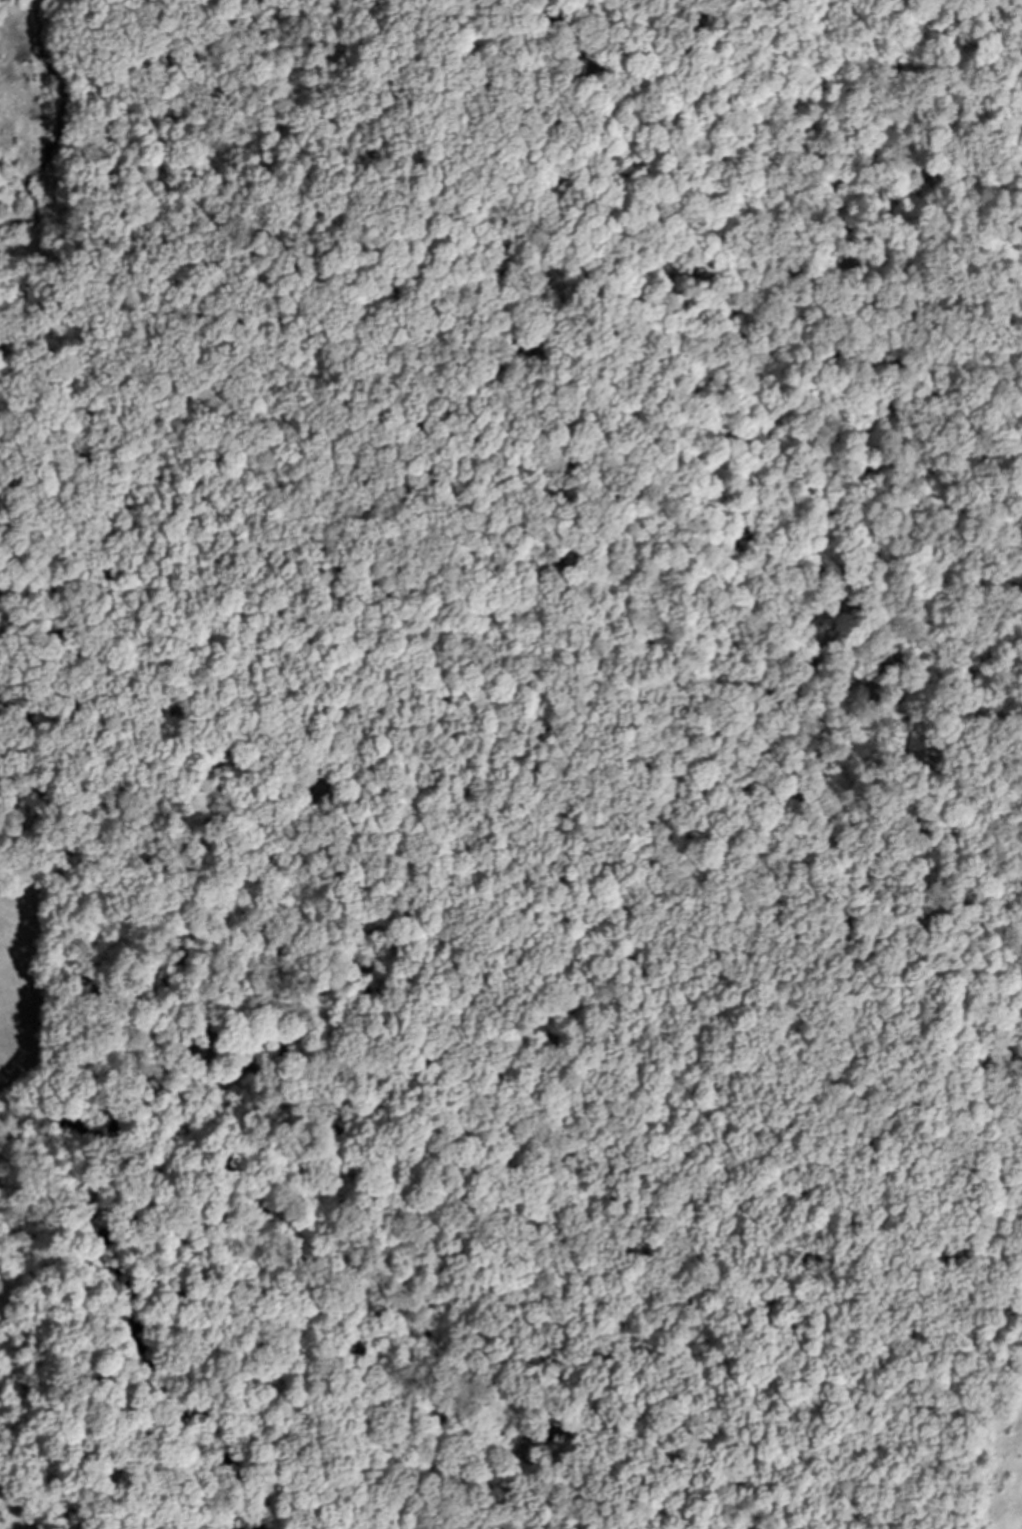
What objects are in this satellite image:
road: (97, 50)
road: (972, 552)
river: (563, 935)

